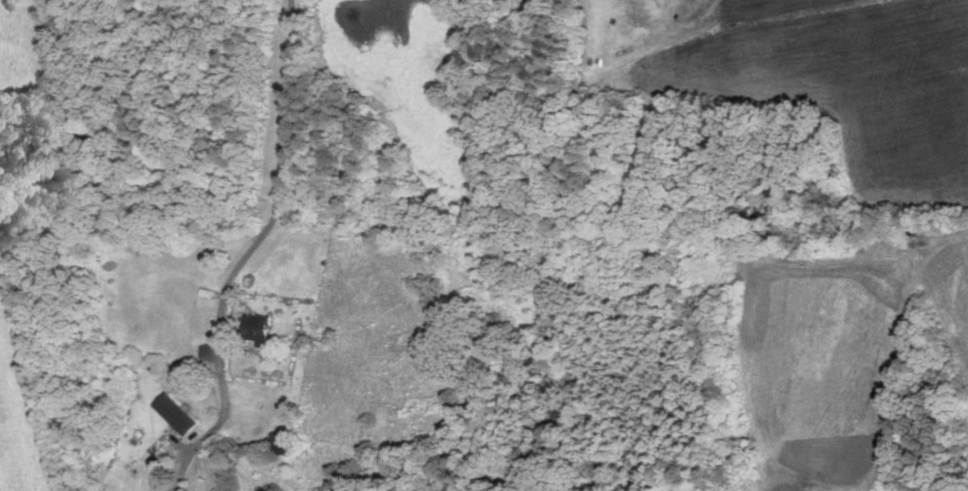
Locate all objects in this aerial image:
road: (284, 198)
building: (260, 327)
building: (179, 413)
road: (204, 437)
building: (286, 446)

